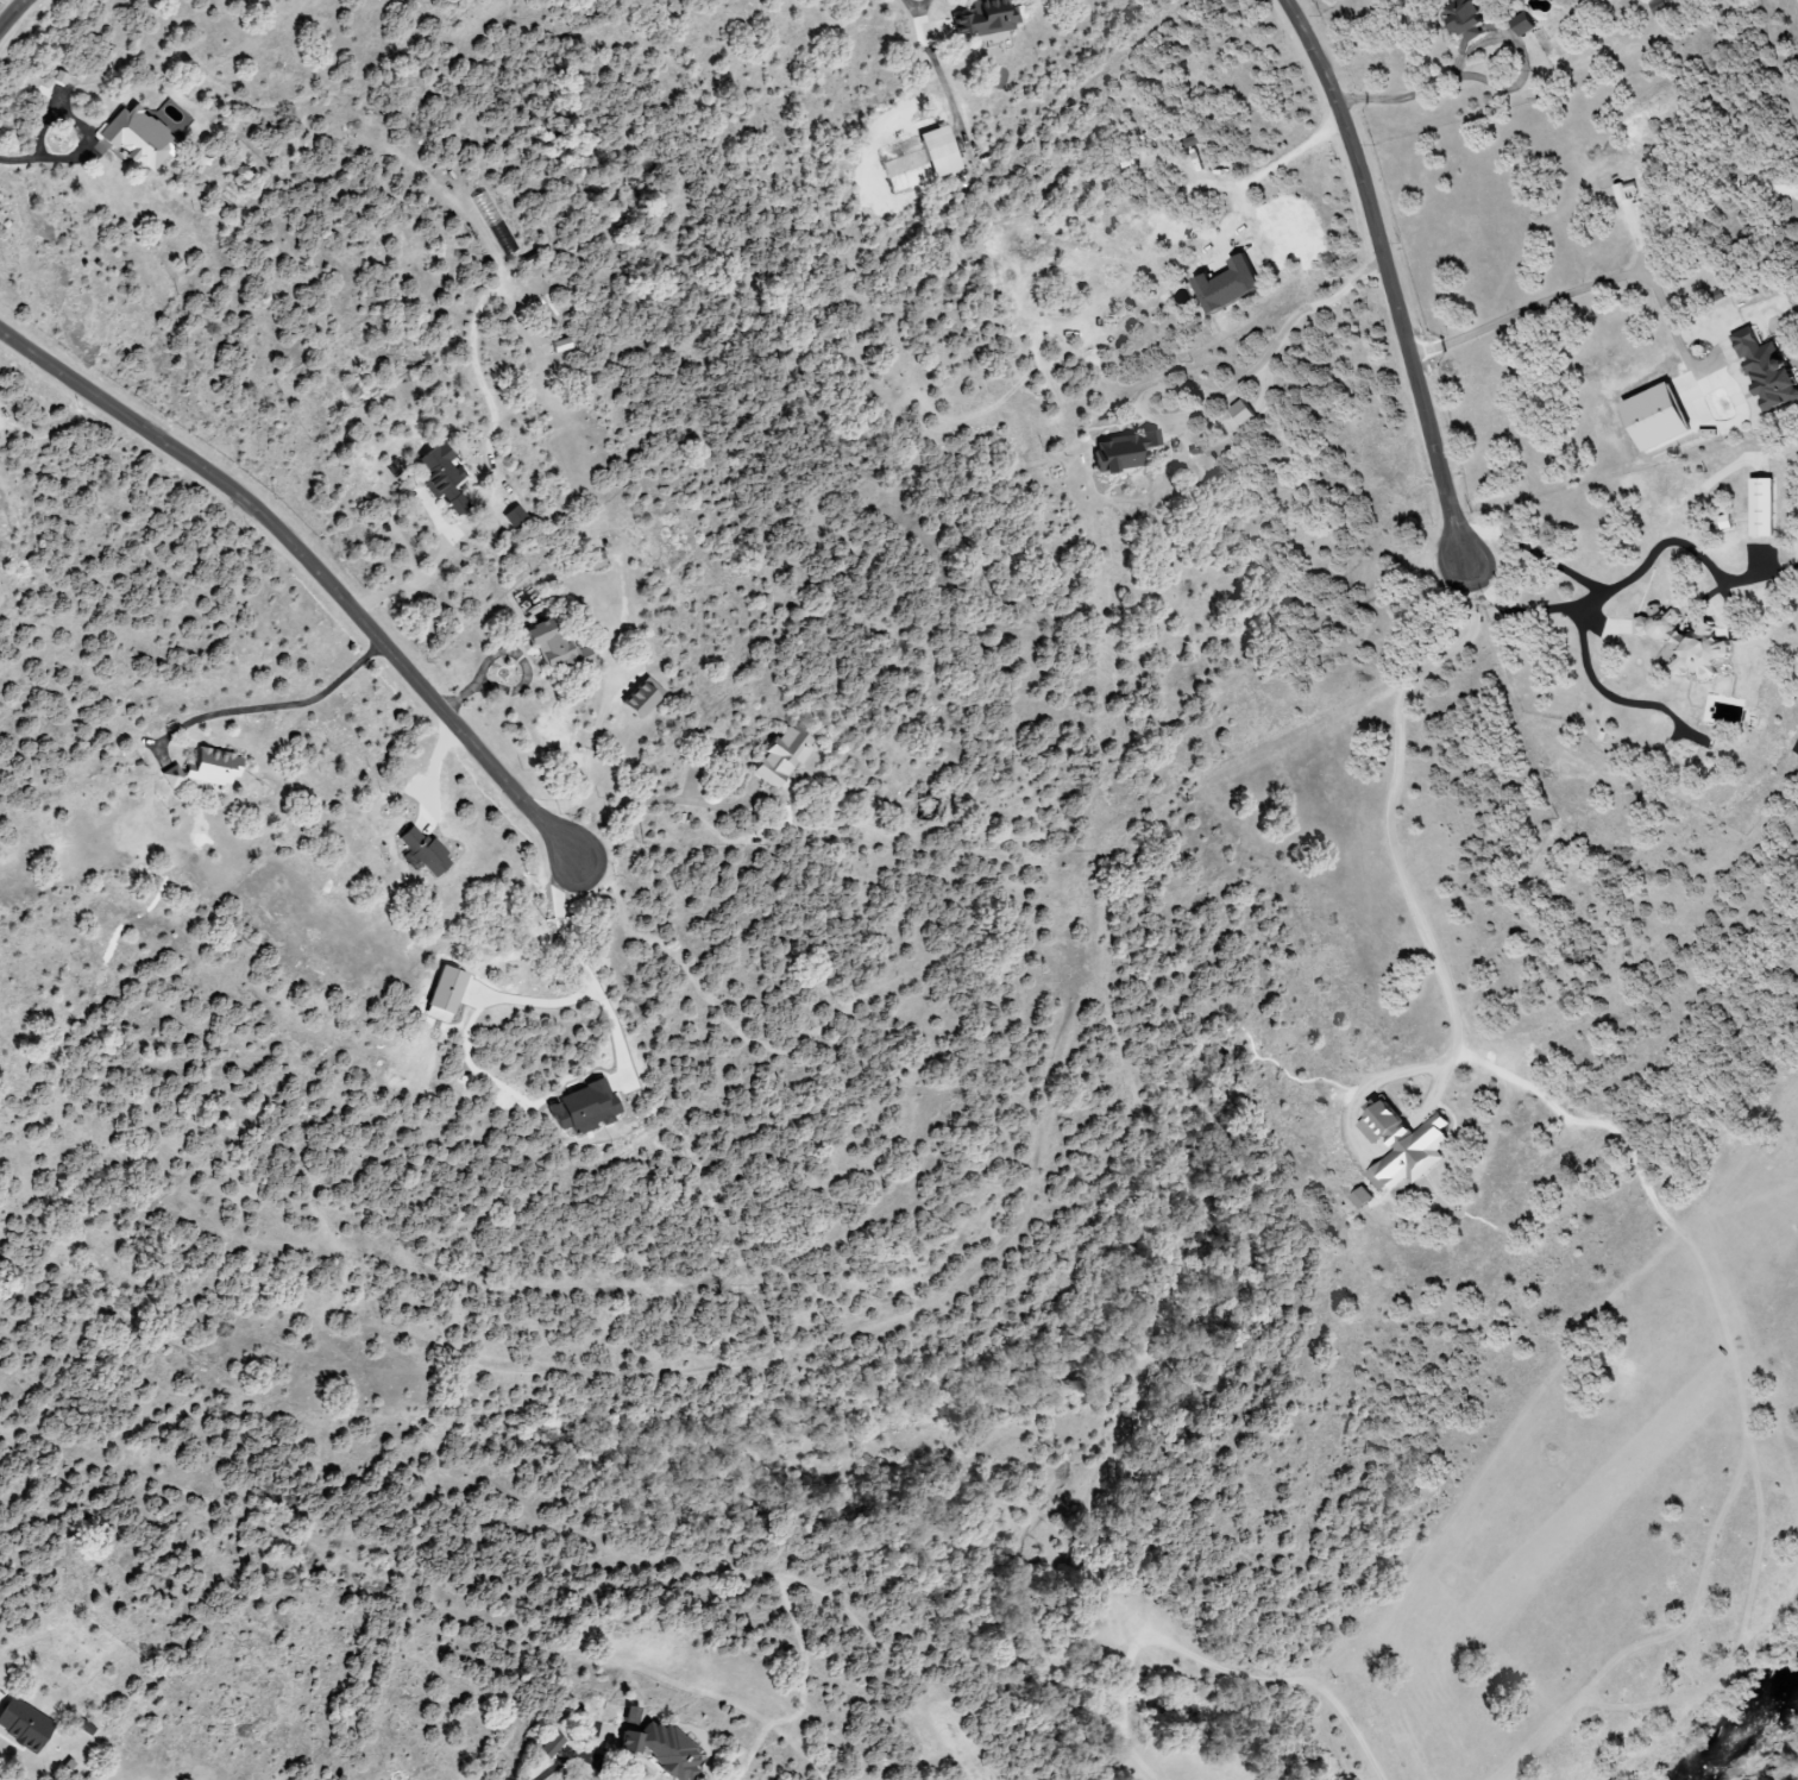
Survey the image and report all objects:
road: (911, 5)
building: (1656, 6)
road: (11, 14)
building: (986, 17)
building: (1463, 19)
building: (1521, 24)
road: (1397, 99)
road: (78, 124)
building: (136, 138)
building: (936, 151)
road: (17, 162)
road: (1270, 164)
building: (1622, 190)
building: (492, 222)
road: (1385, 271)
building: (1225, 284)
road: (1573, 294)
road: (1277, 342)
building: (559, 346)
building: (1764, 370)
building: (1239, 413)
building: (1652, 417)
building: (1120, 451)
building: (439, 476)
road: (493, 478)
building: (1760, 508)
building: (515, 518)
building: (1723, 522)
road: (312, 570)
road: (1614, 587)
building: (542, 642)
building: (1683, 642)
road: (505, 647)
building: (639, 697)
road: (265, 709)
building: (781, 756)
road: (587, 766)
building: (203, 768)
road: (653, 800)
road: (1390, 806)
building: (420, 850)
building: (441, 994)
building: (580, 1108)
building: (1401, 1146)
building: (1359, 1197)
river: (1741, 1715)
building: (20, 1724)
building: (83, 1726)
building: (549, 1746)
building: (653, 1746)
road: (574, 1762)

